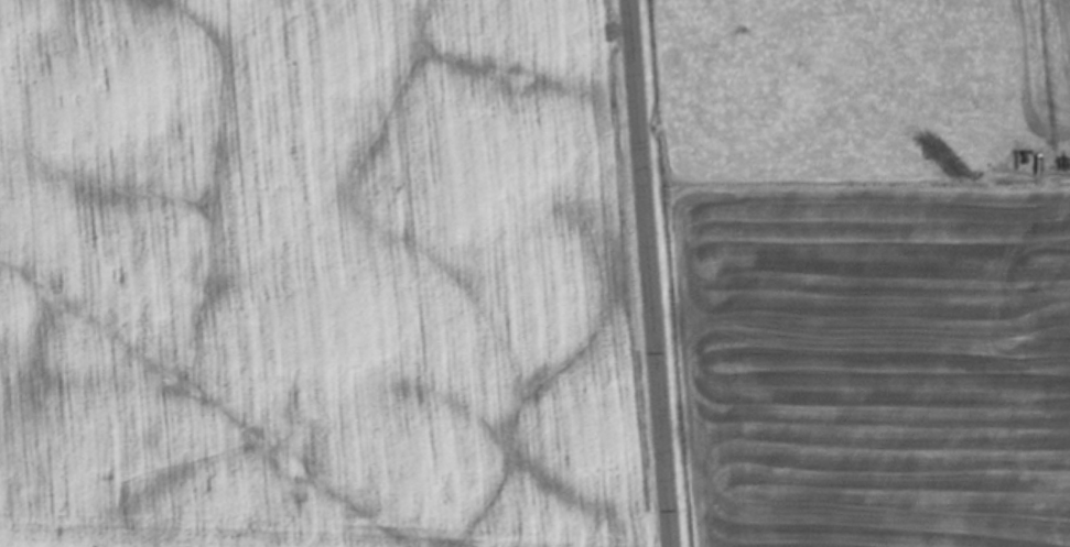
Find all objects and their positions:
road: (649, 273)

